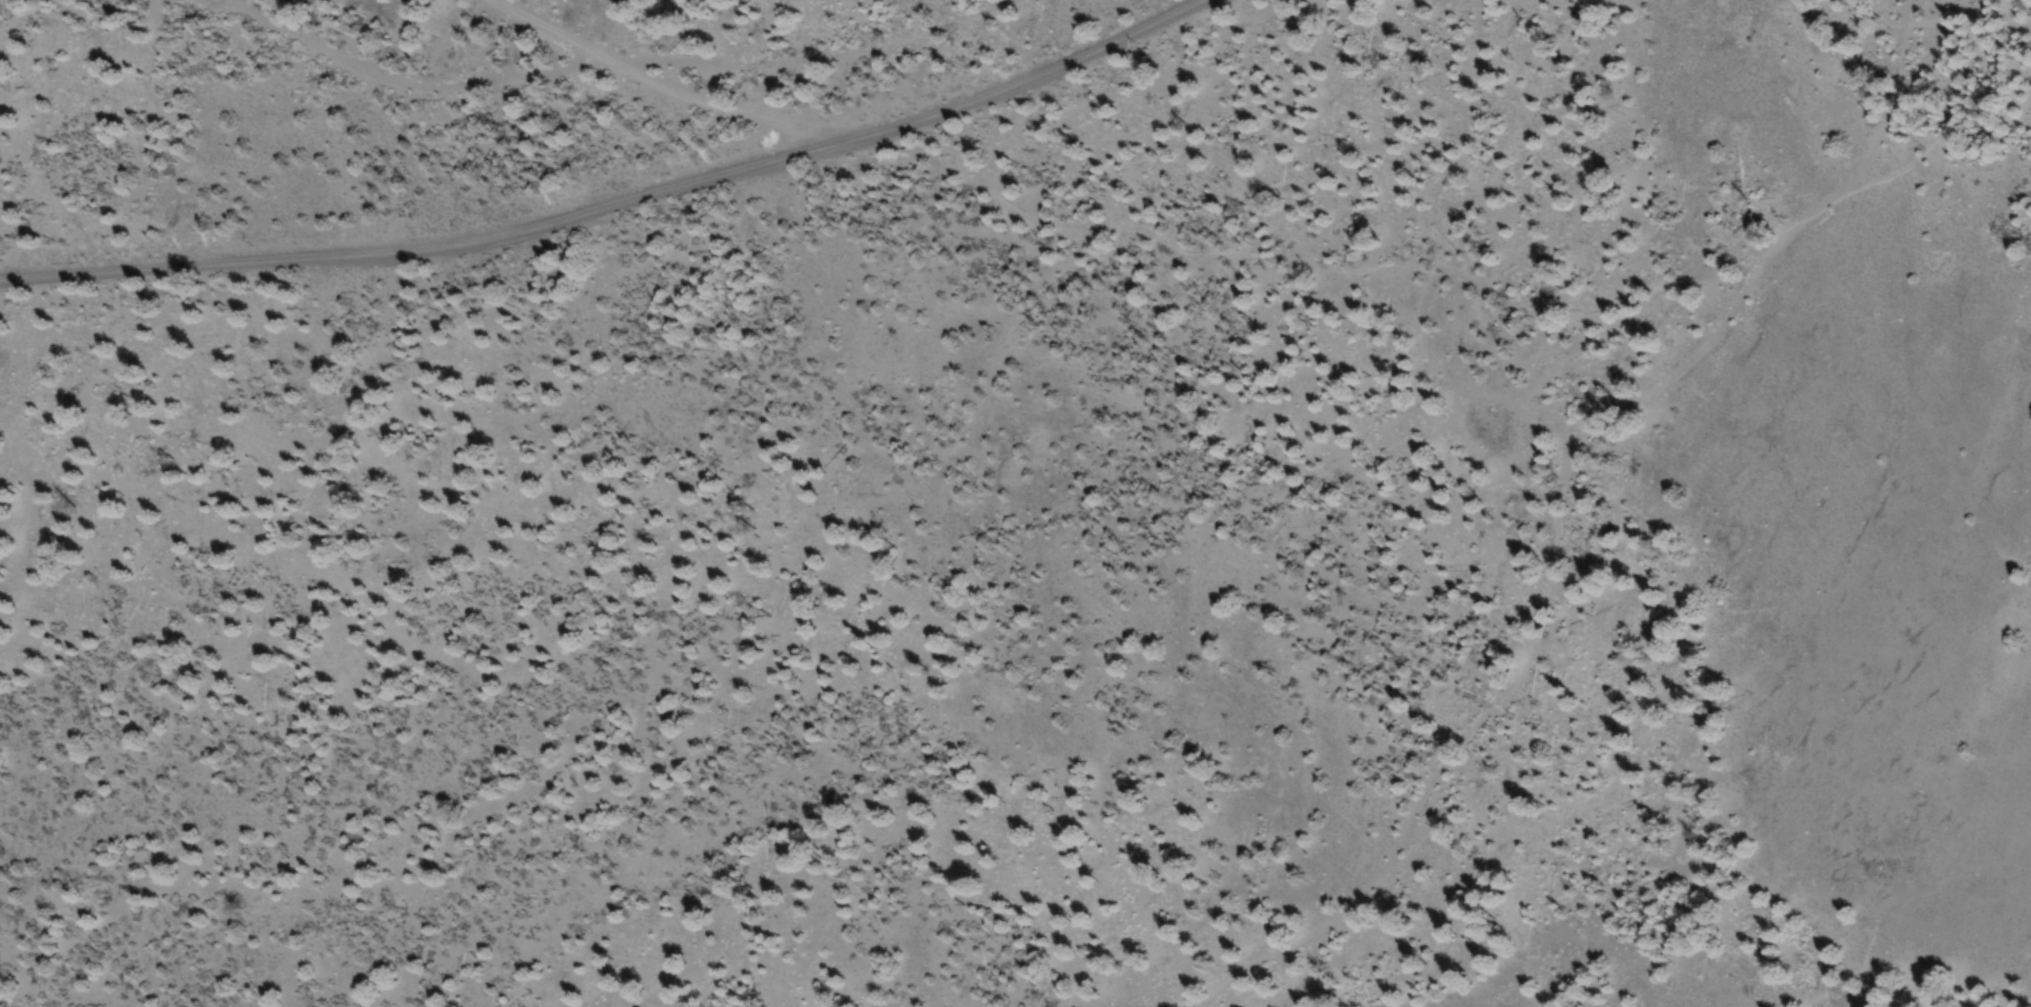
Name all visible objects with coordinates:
road: (554, 28)
road: (610, 58)
road: (741, 112)
road: (619, 202)
road: (1560, 498)
road: (888, 665)

